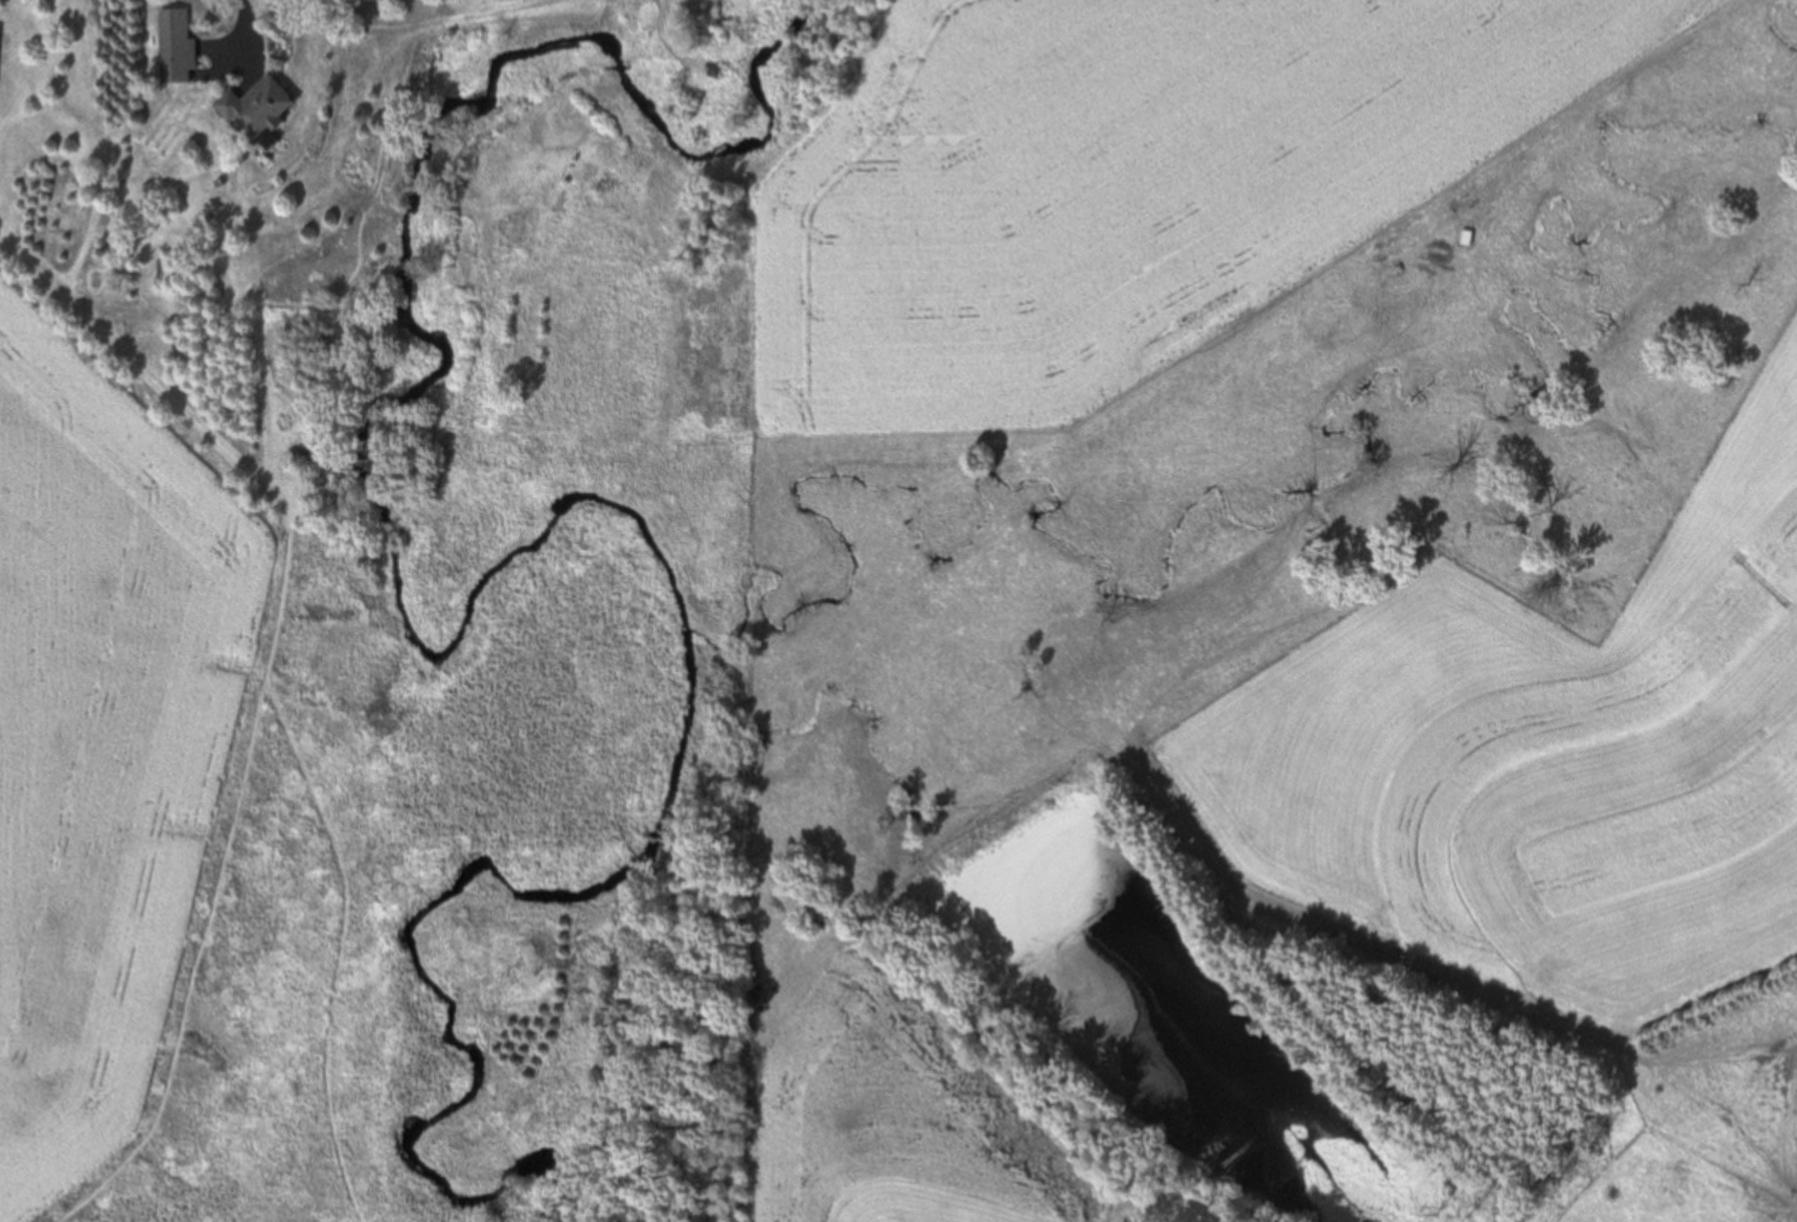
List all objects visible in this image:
road: (245, 34)
building: (177, 60)
building: (254, 106)

